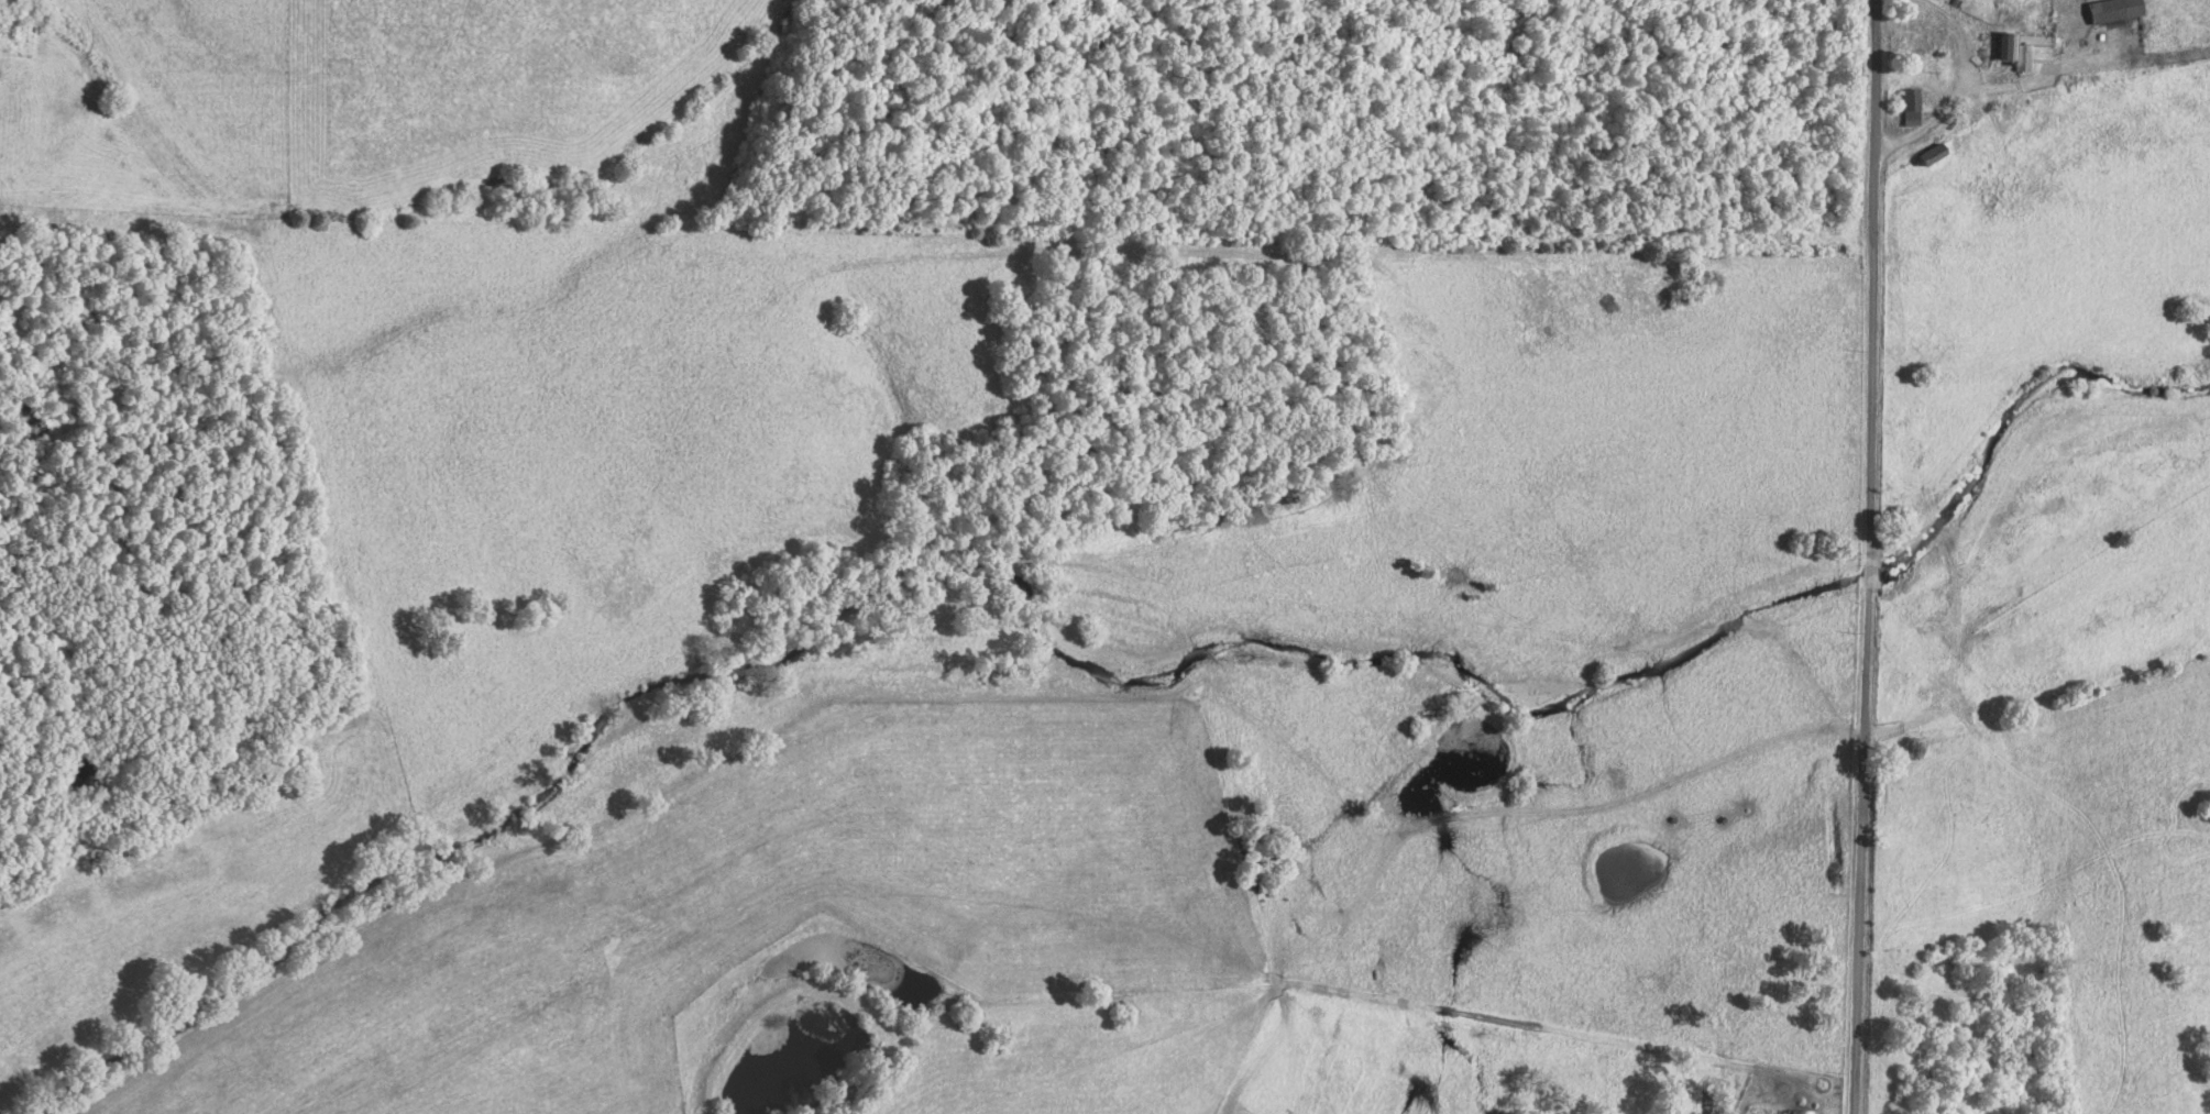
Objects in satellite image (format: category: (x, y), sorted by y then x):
building: (2116, 10)
building: (2008, 46)
road: (1950, 90)
building: (1912, 107)
building: (1935, 154)
road: (1870, 556)
building: (1802, 1111)

